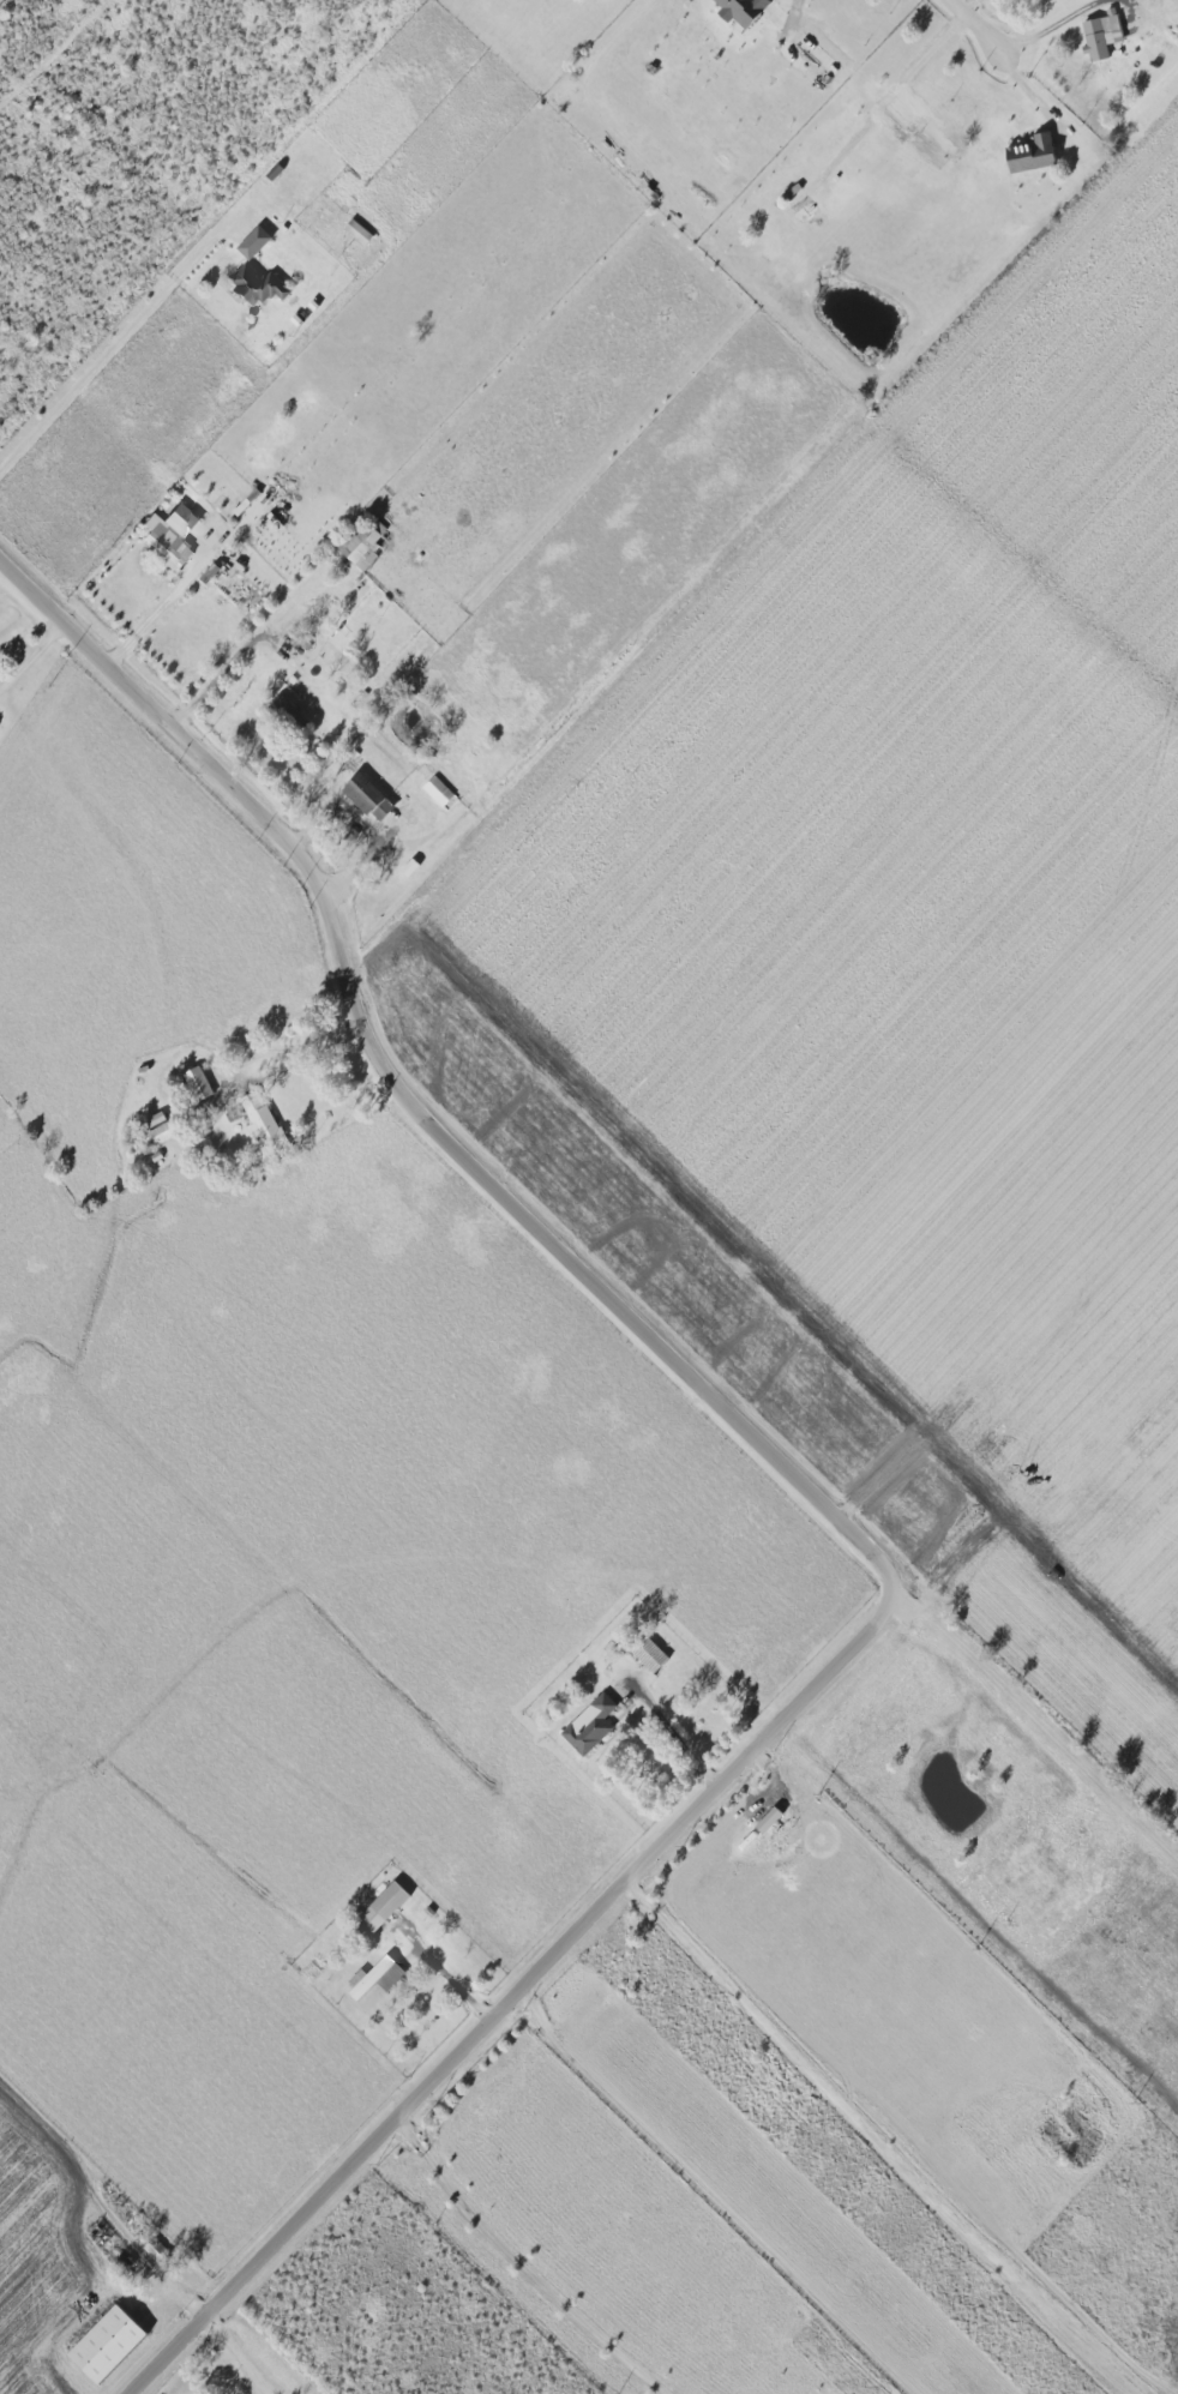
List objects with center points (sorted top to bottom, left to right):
road: (1136, 5)
building: (744, 10)
road: (792, 20)
road: (1051, 23)
road: (988, 25)
building: (1101, 36)
road: (898, 89)
building: (1035, 154)
building: (801, 201)
building: (359, 231)
building: (256, 242)
building: (259, 285)
road: (121, 339)
building: (173, 534)
road: (767, 545)
building: (363, 547)
road: (157, 612)
road: (35, 654)
road: (229, 657)
building: (292, 711)
building: (439, 792)
building: (371, 798)
road: (288, 1064)
building: (199, 1083)
building: (264, 1121)
building: (163, 1132)
road: (809, 1484)
building: (653, 1656)
road: (1033, 1708)
building: (591, 1725)
road: (672, 1728)
building: (771, 1819)
building: (385, 1906)
building: (378, 1977)
road: (457, 1983)
road: (885, 2143)
road: (711, 2195)
road: (107, 2206)
road: (524, 2264)
building: (110, 2345)

